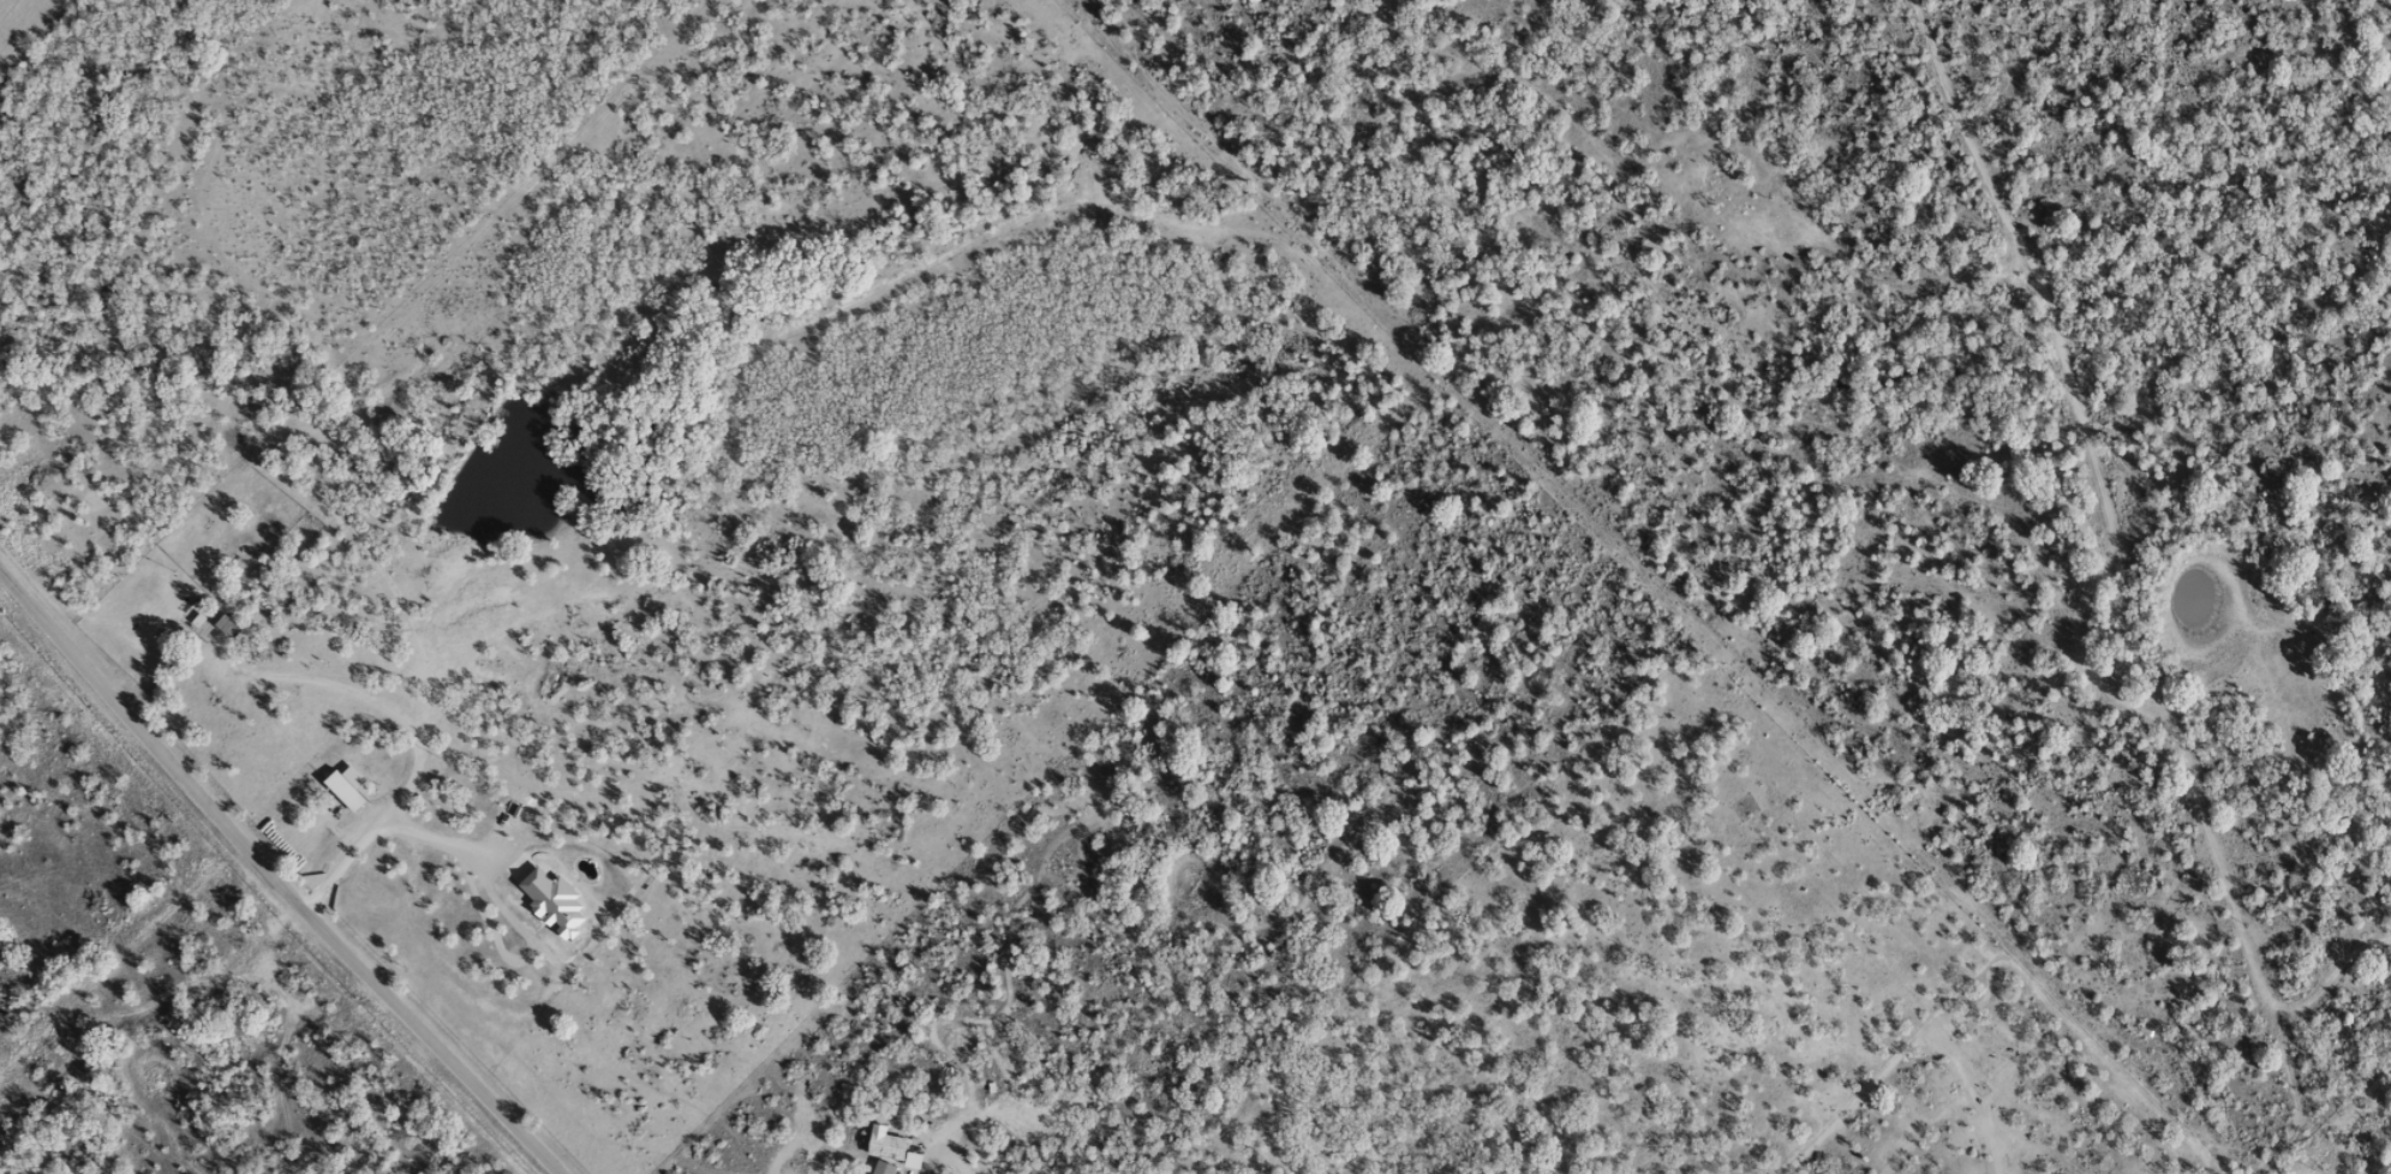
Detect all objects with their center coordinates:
building: (340, 791)
road: (263, 899)
building: (880, 1144)
building: (878, 1168)

